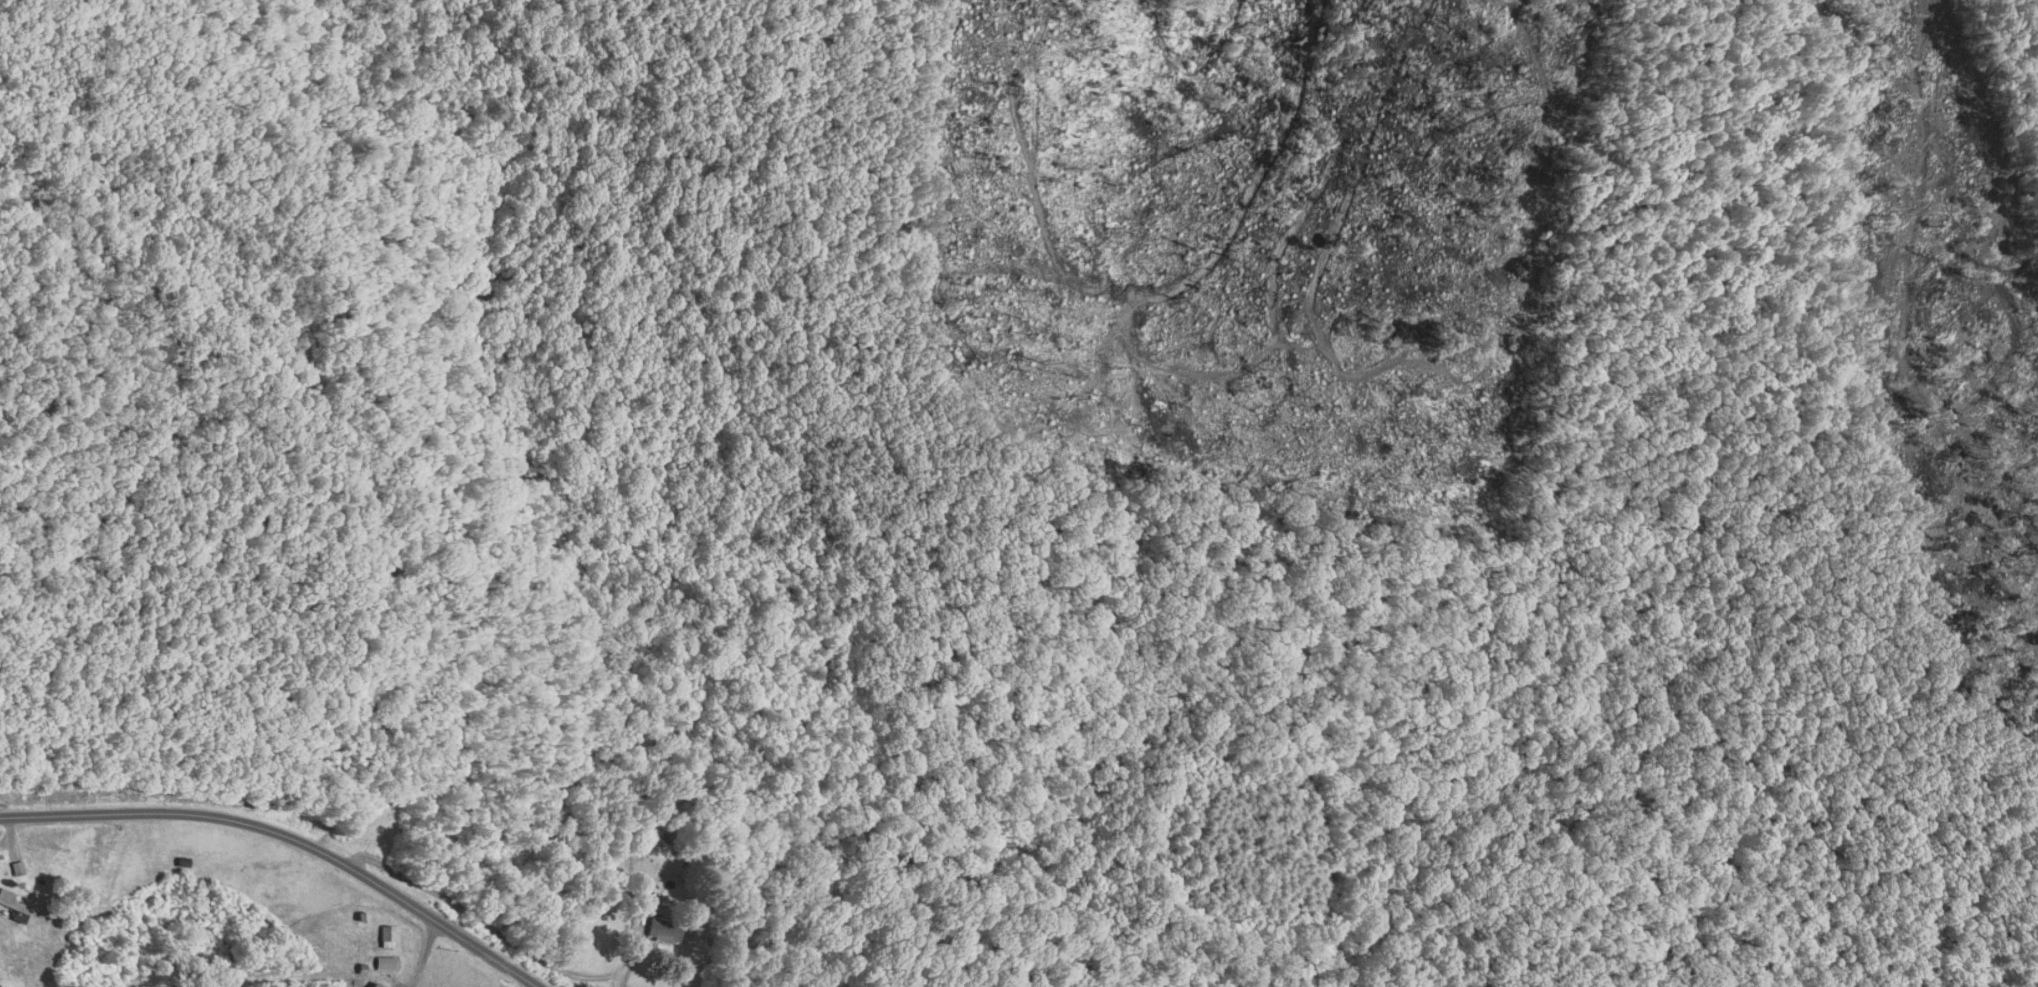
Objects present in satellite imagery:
road: (320, 401)
road: (289, 832)
building: (661, 931)
building: (386, 936)
road: (424, 954)
building: (385, 963)
building: (374, 986)

